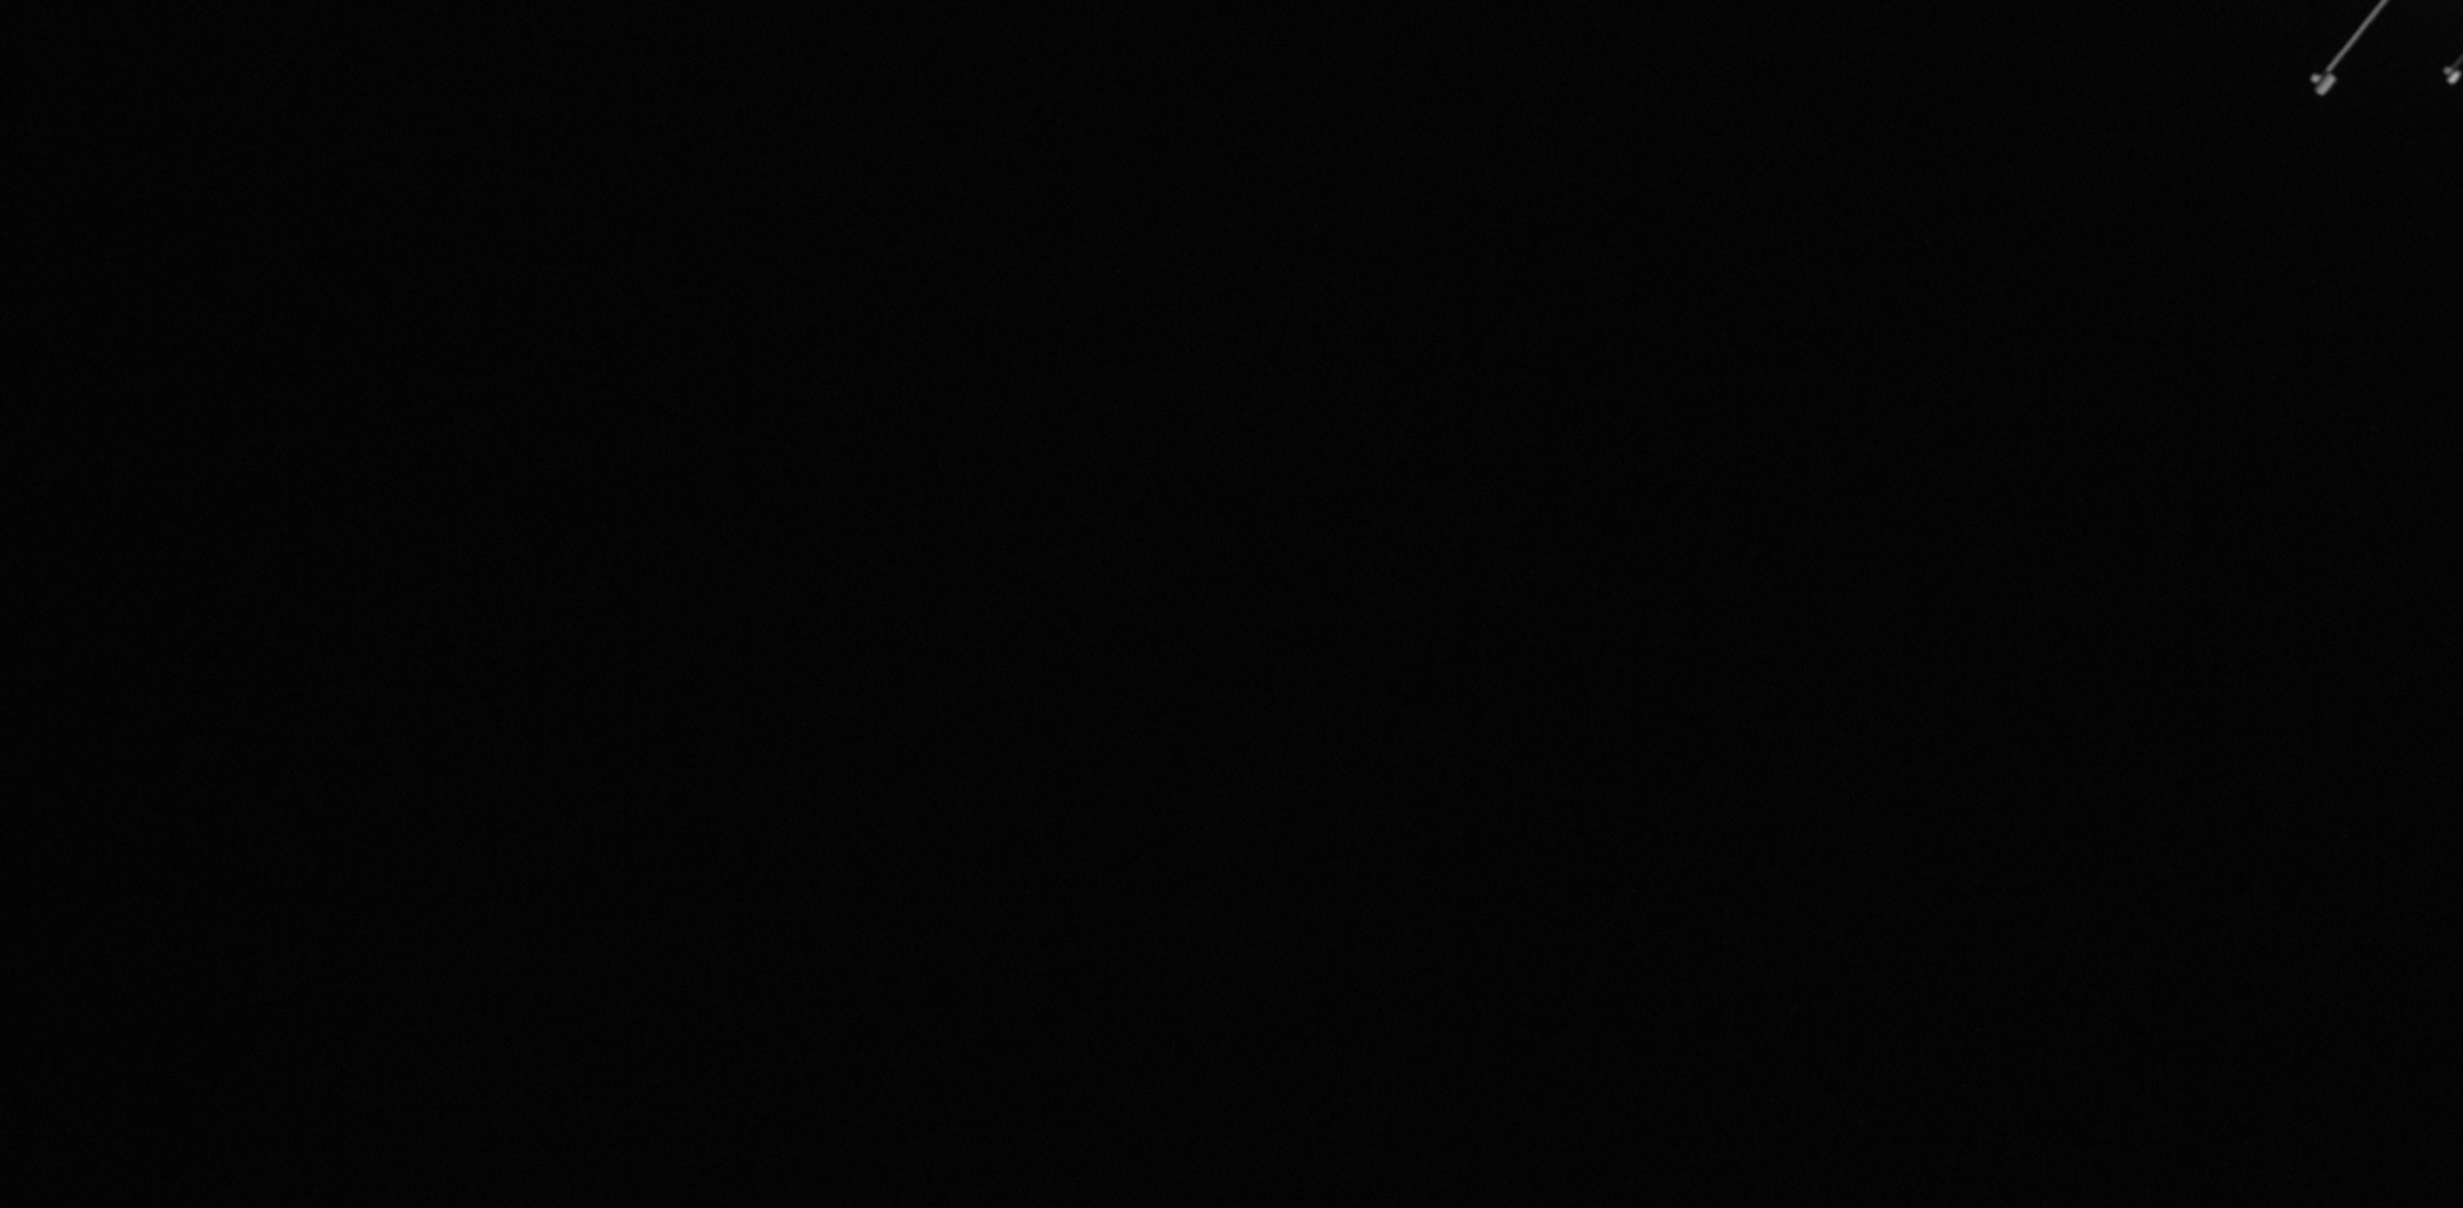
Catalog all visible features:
river: (331, 990)

